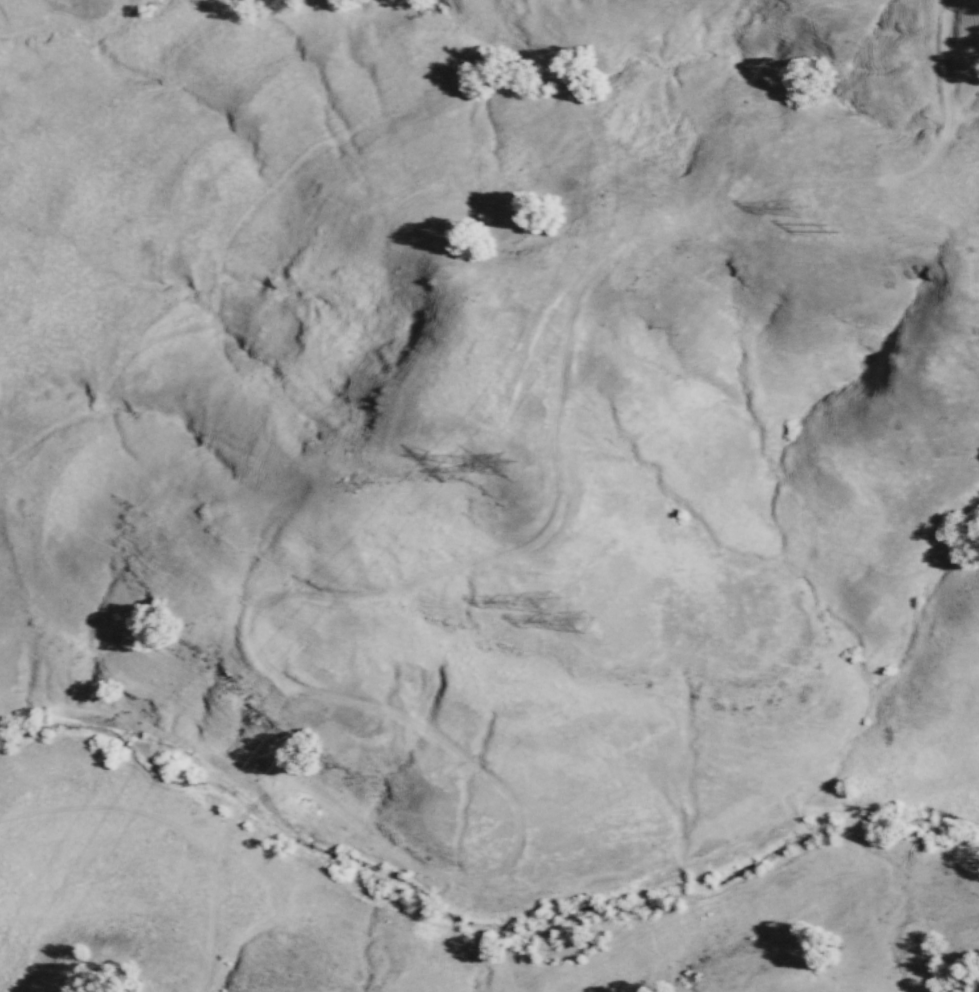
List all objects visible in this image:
power tower: (798, 209)
power tower: (835, 232)
power tower: (508, 467)
power tower: (552, 604)
power tower: (585, 623)

